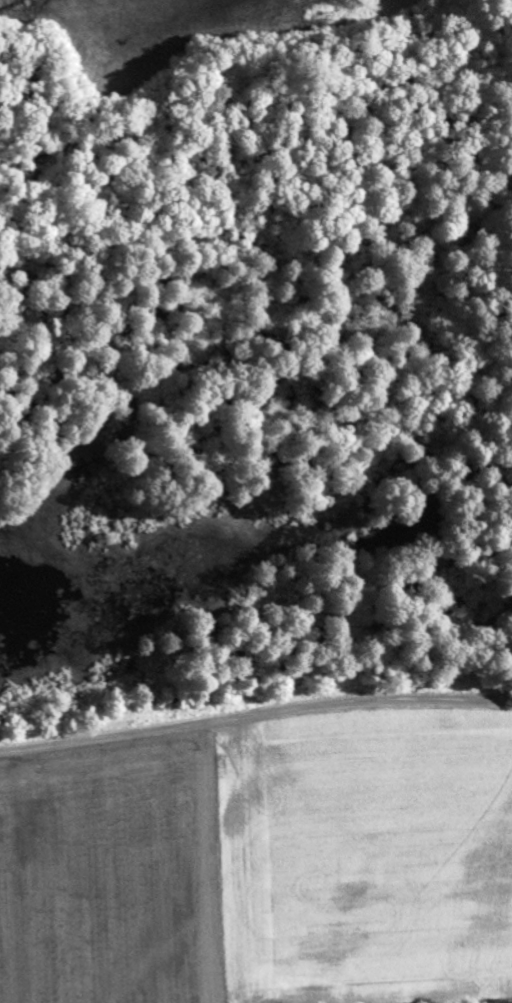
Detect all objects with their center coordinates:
road: (255, 715)

